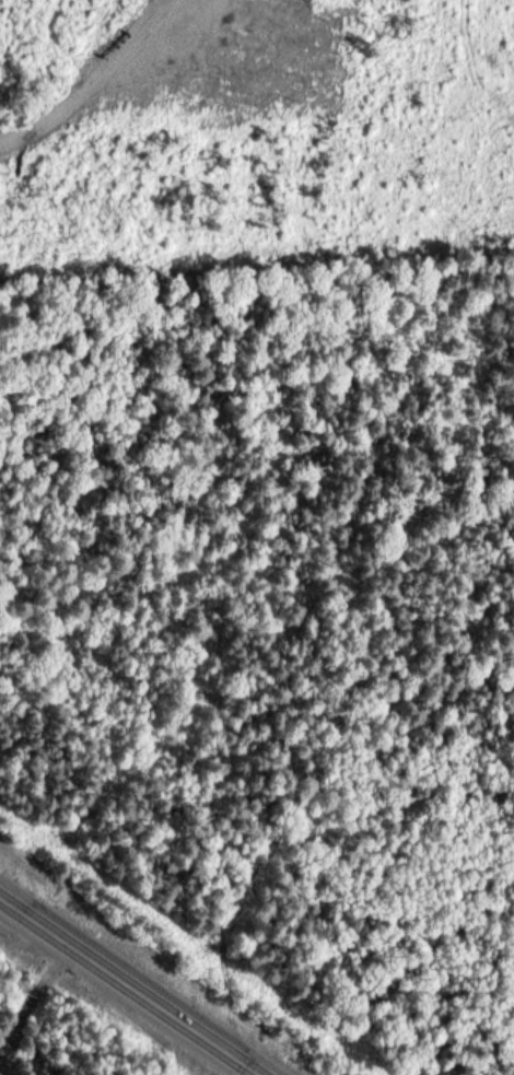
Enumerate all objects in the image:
road: (133, 982)
road: (34, 983)

